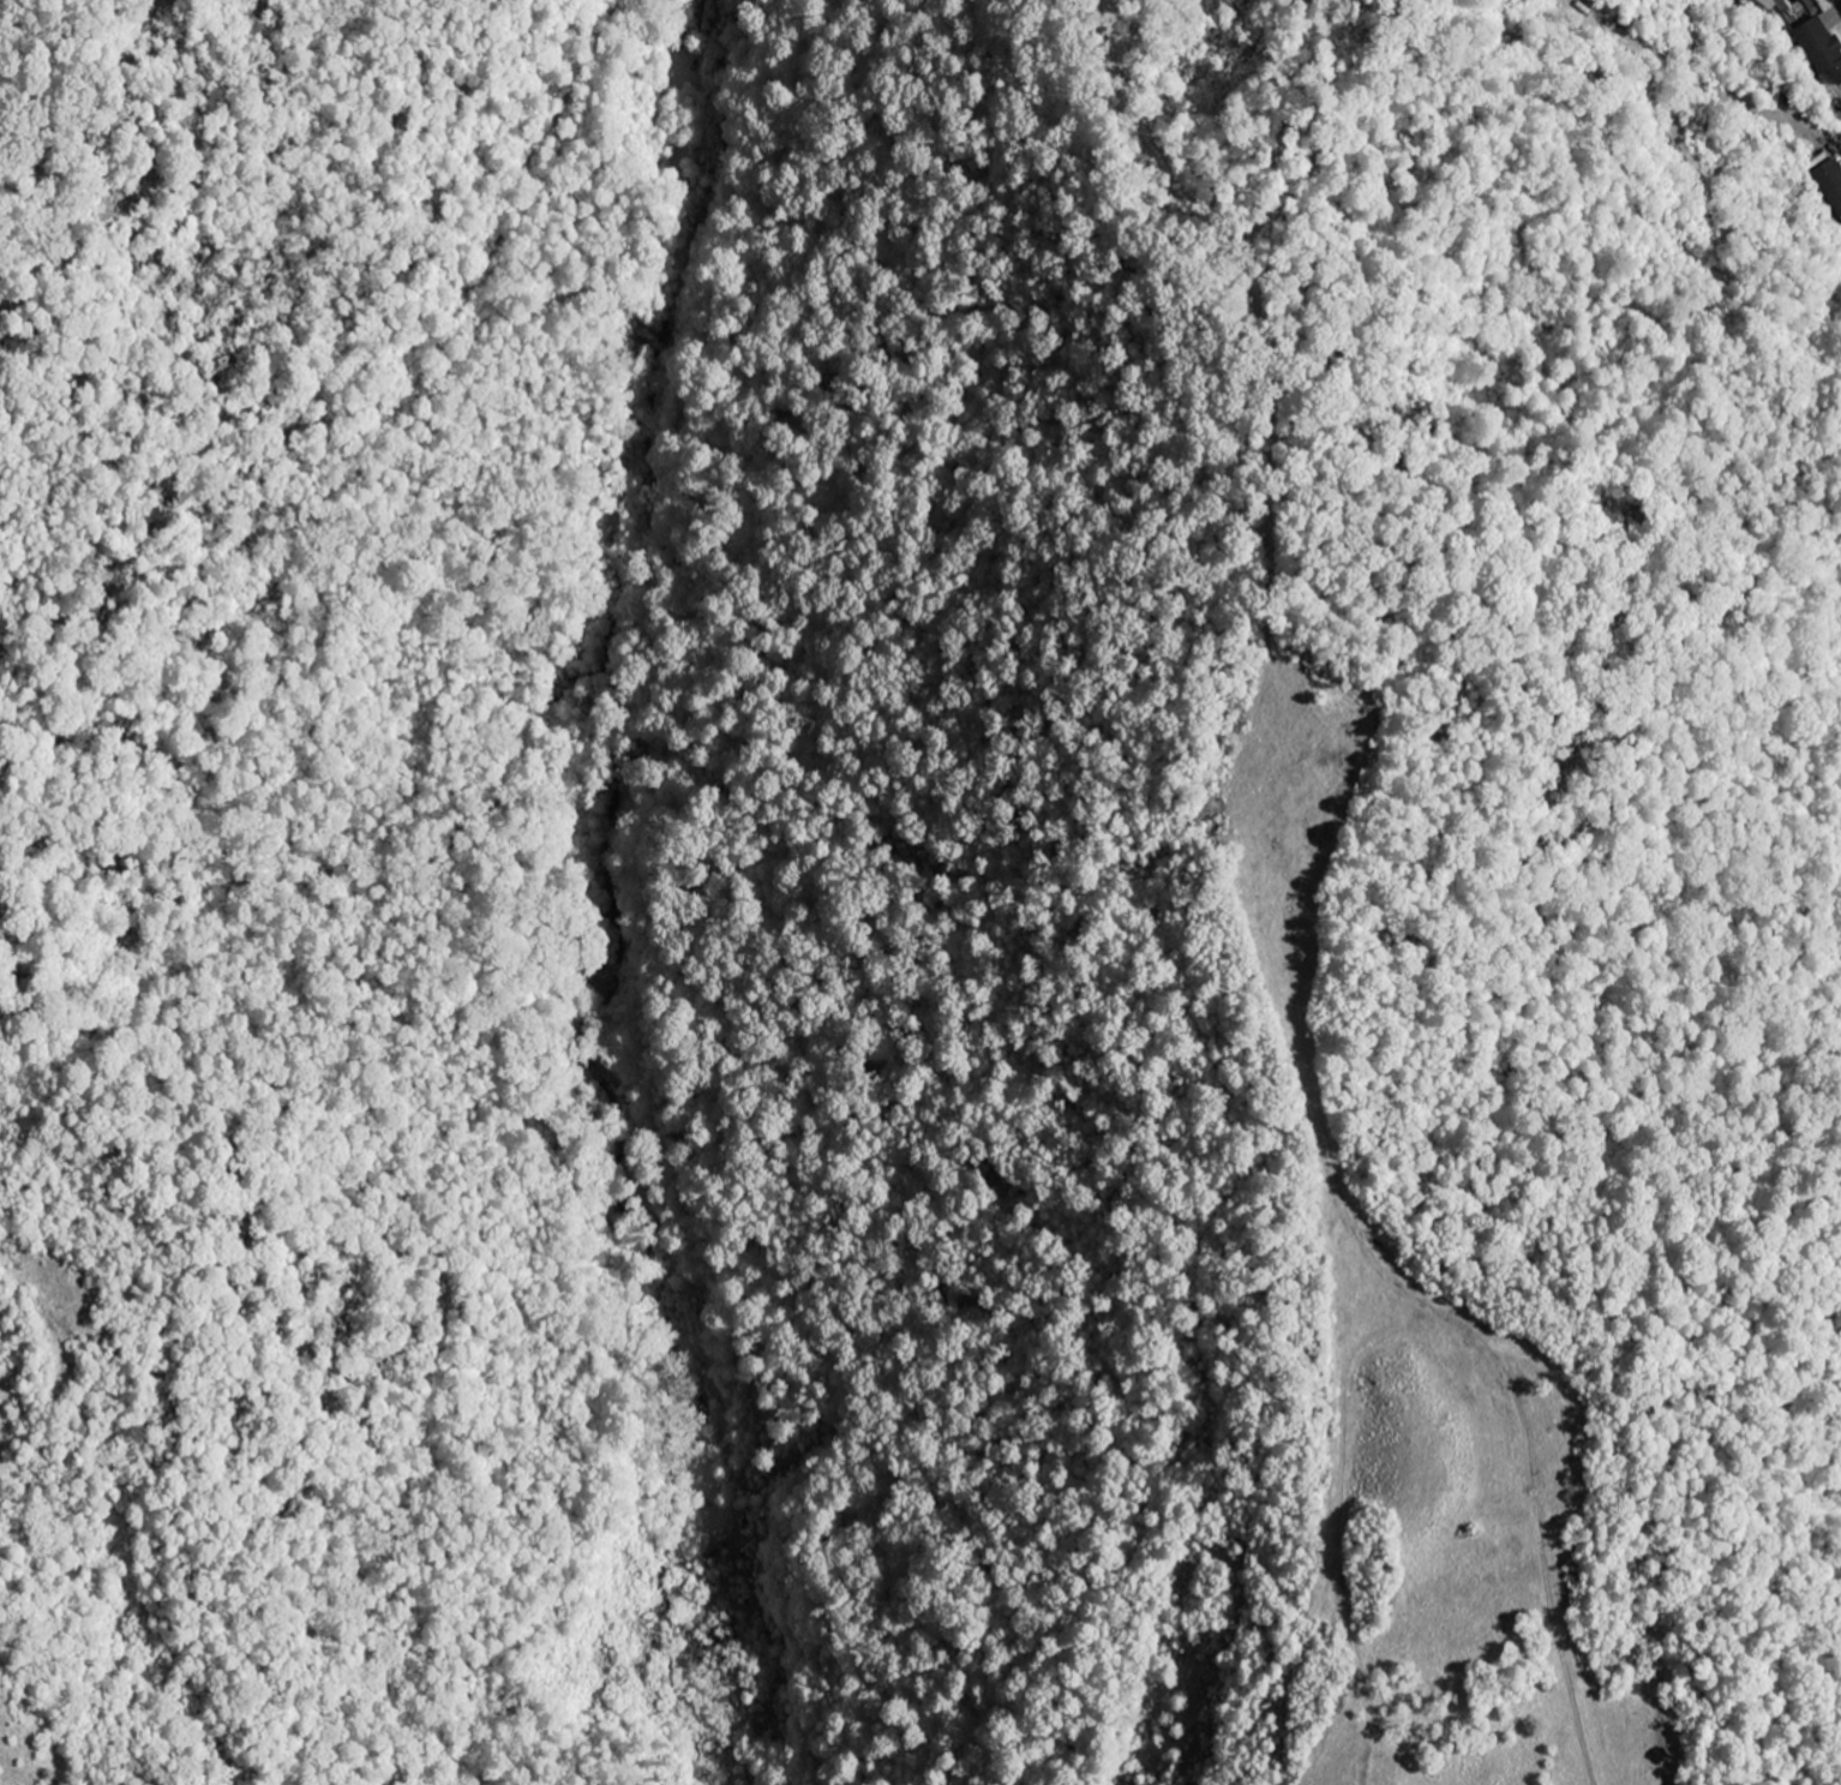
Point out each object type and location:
building: (1769, 8)
building: (1821, 49)
building: (1830, 182)

